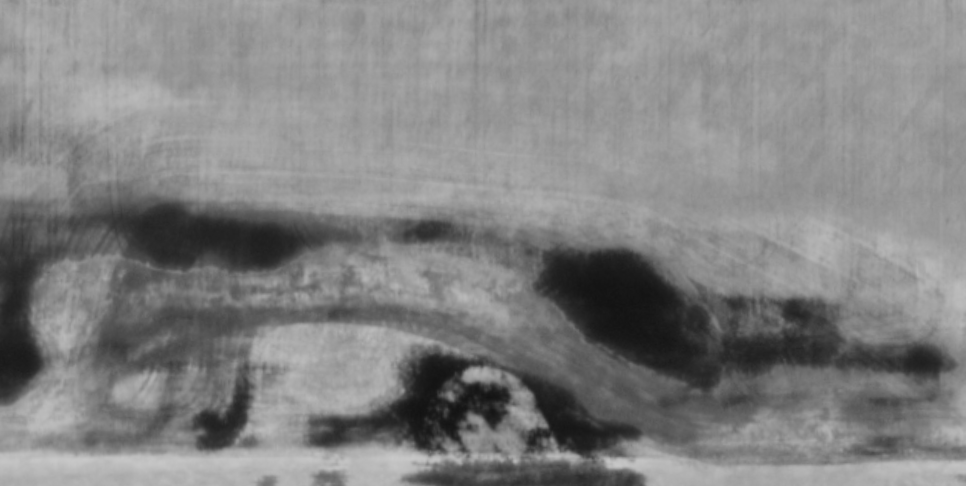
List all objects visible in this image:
road: (483, 429)

